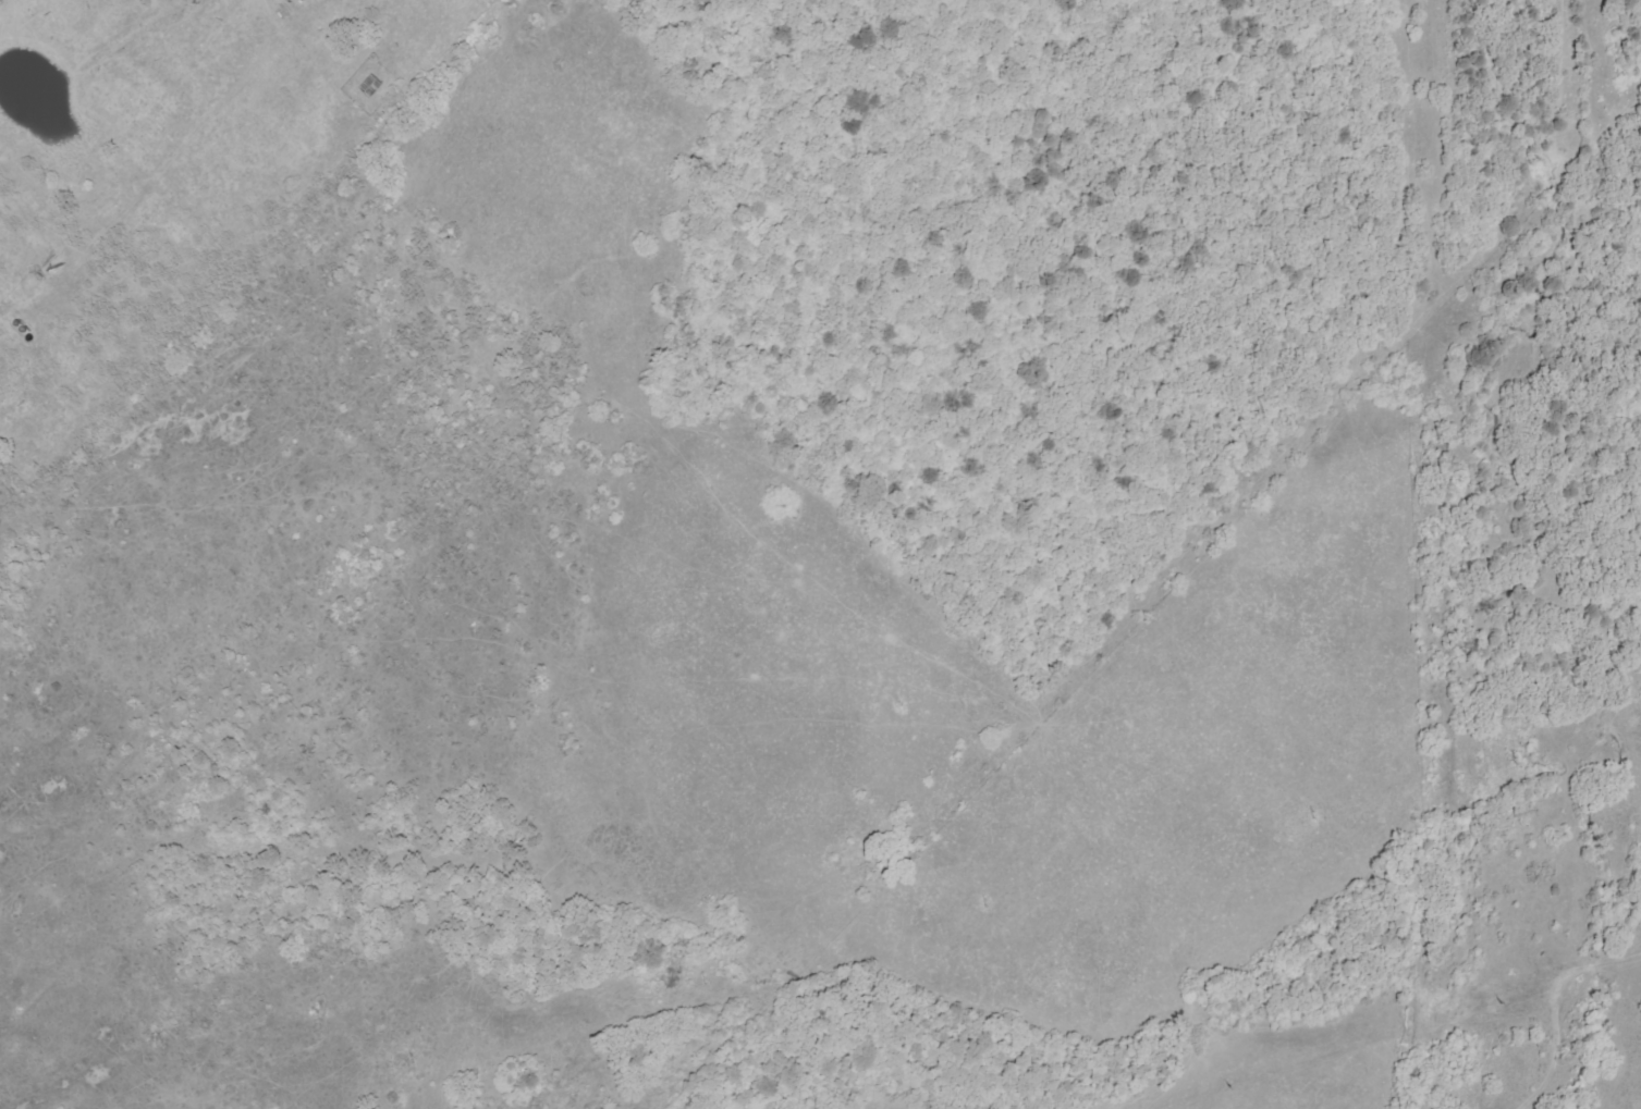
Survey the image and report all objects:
power tower: (1517, 760)
power tower: (1315, 815)
power tower: (988, 903)
power tower: (706, 979)
power tower: (415, 1058)

